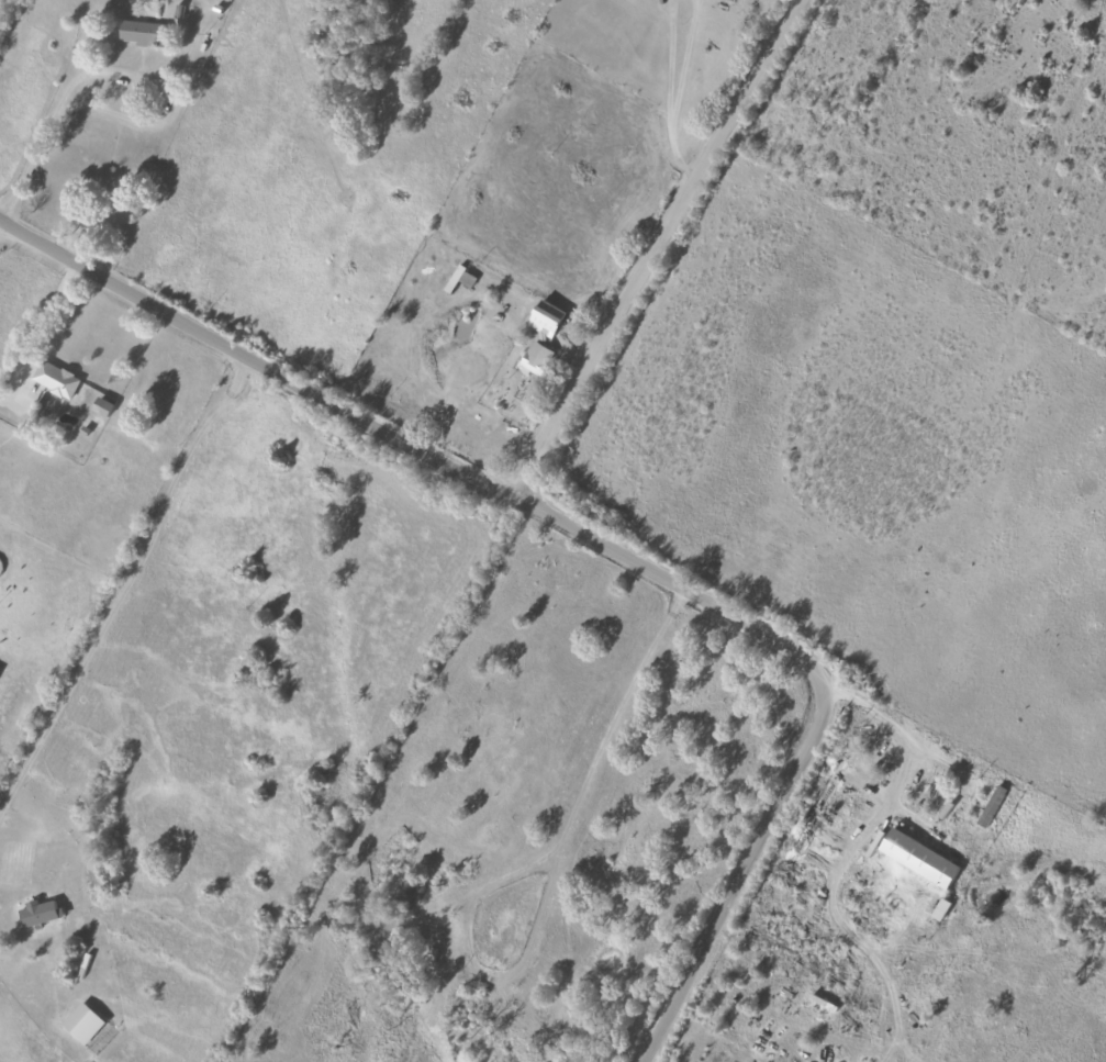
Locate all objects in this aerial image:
road: (673, 13)
building: (141, 33)
road: (164, 94)
road: (625, 153)
road: (31, 164)
road: (137, 237)
road: (13, 254)
road: (559, 305)
building: (539, 336)
road: (255, 365)
building: (55, 379)
building: (100, 406)
road: (602, 549)
road: (123, 578)
building: (916, 858)
building: (37, 913)
building: (81, 1024)

